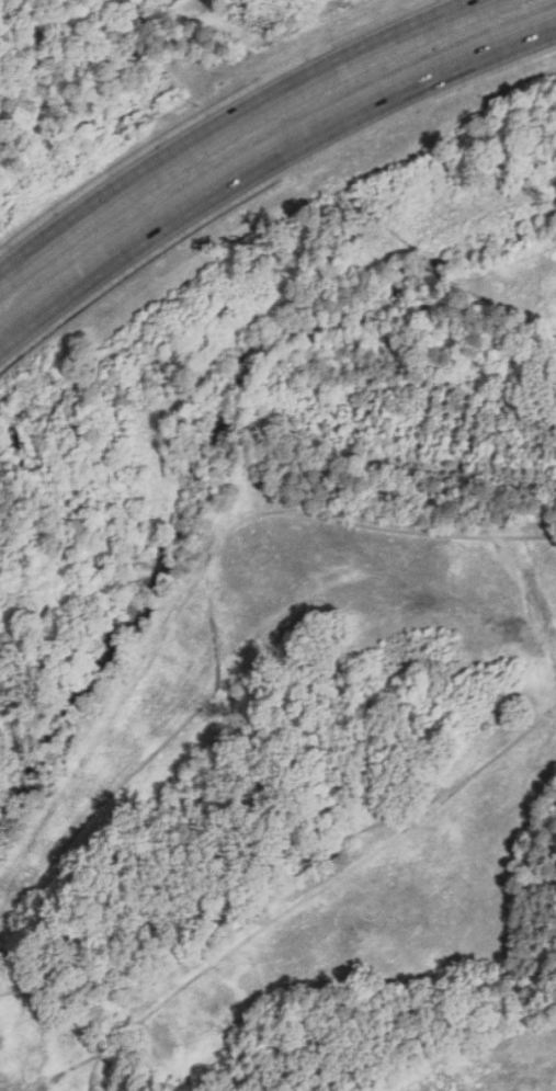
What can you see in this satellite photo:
road: (228, 121)
road: (264, 162)

